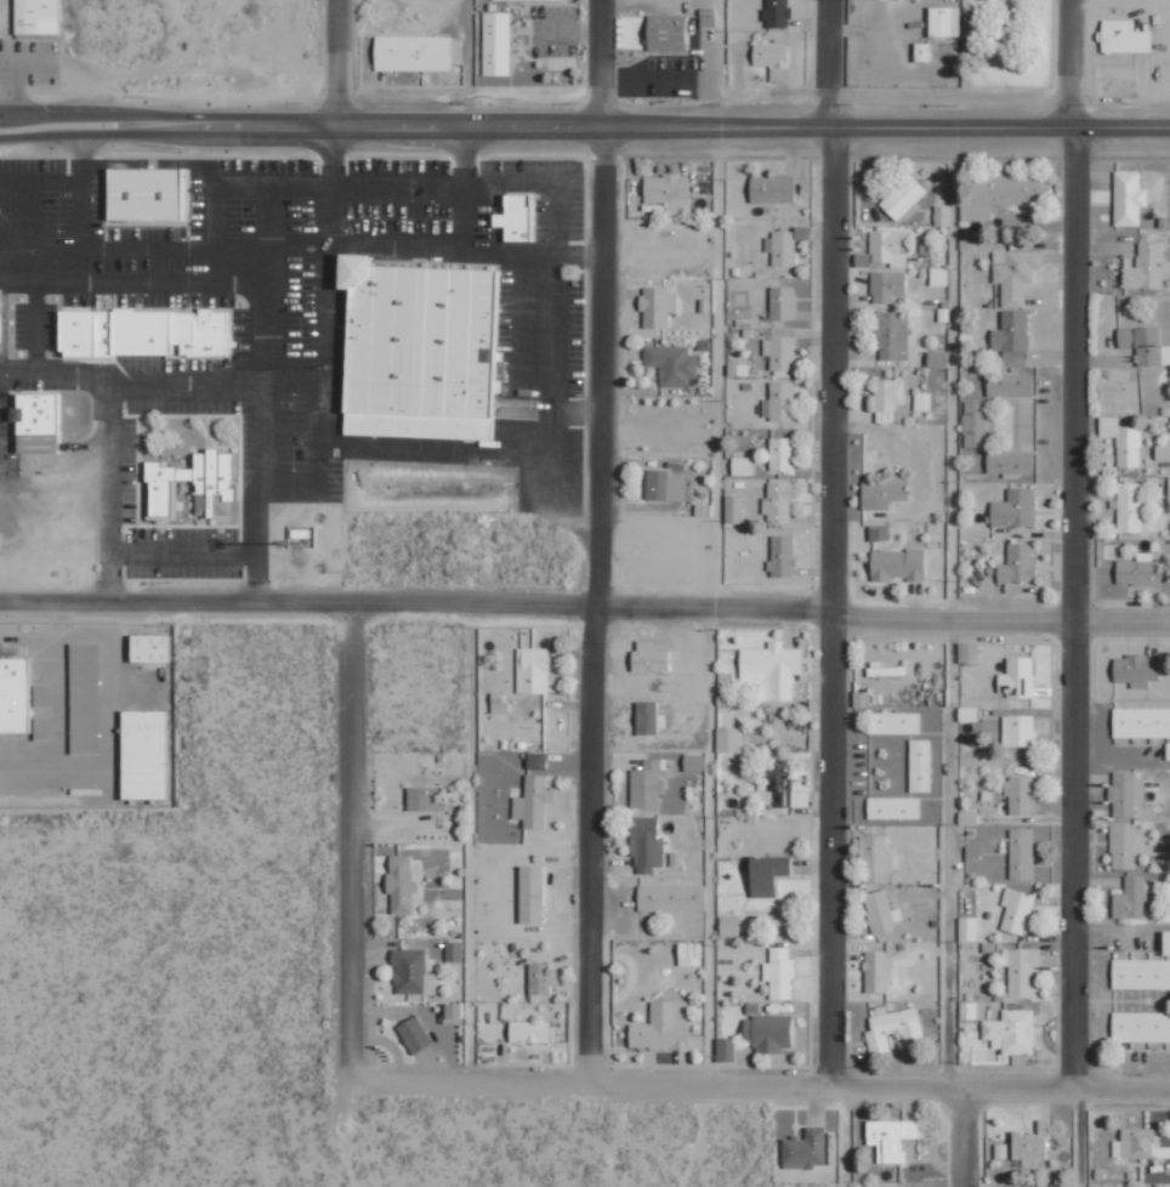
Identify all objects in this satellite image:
building: (547, 0)
building: (892, 1)
building: (1112, 10)
building: (777, 13)
building: (35, 17)
building: (944, 22)
building: (666, 33)
building: (1124, 38)
building: (495, 46)
building: (411, 53)
building: (771, 55)
road: (337, 61)
road: (1063, 64)
road: (585, 123)
building: (771, 188)
building: (1011, 189)
building: (668, 192)
building: (148, 195)
building: (903, 197)
building: (1128, 198)
building: (942, 215)
building: (515, 217)
building: (780, 248)
building: (886, 248)
building: (1147, 267)
building: (1015, 274)
building: (886, 286)
building: (782, 302)
building: (657, 306)
building: (0, 318)
building: (155, 330)
building: (892, 335)
building: (1012, 337)
building: (1145, 345)
building: (421, 350)
building: (779, 354)
building: (937, 358)
building: (671, 364)
building: (1010, 385)
building: (888, 394)
building: (779, 402)
building: (1022, 420)
building: (35, 422)
building: (975, 424)
building: (1123, 441)
building: (782, 454)
building: (1009, 461)
building: (742, 466)
building: (665, 485)
building: (1169, 490)
building: (881, 493)
building: (211, 500)
building: (778, 502)
building: (1129, 506)
building: (733, 509)
building: (1015, 509)
building: (879, 533)
road: (598, 539)
road: (711, 540)
road: (829, 543)
building: (782, 556)
building: (897, 564)
building: (1018, 564)
building: (1138, 572)
road: (414, 604)
road: (949, 608)
road: (1072, 609)
road: (999, 619)
building: (149, 647)
building: (969, 652)
building: (649, 657)
building: (771, 669)
building: (1136, 669)
building: (532, 670)
building: (879, 670)
building: (1017, 676)
building: (13, 694)
building: (84, 698)
building: (647, 716)
building: (1141, 721)
building: (893, 722)
building: (1017, 729)
building: (728, 739)
building: (1168, 750)
building: (143, 752)
building: (693, 762)
building: (920, 765)
building: (776, 774)
building: (647, 784)
building: (1125, 793)
building: (1020, 794)
building: (425, 797)
building: (533, 801)
building: (893, 807)
road: (468, 842)
road: (351, 844)
building: (646, 845)
building: (1124, 845)
building: (1021, 853)
building: (875, 858)
building: (767, 873)
building: (399, 882)
building: (530, 893)
building: (671, 897)
building: (1130, 897)
building: (1016, 910)
building: (881, 911)
building: (728, 925)
building: (967, 928)
building: (1166, 942)
building: (689, 953)
building: (1022, 970)
building: (411, 971)
building: (876, 971)
building: (779, 973)
building: (1141, 973)
building: (539, 977)
building: (967, 1010)
building: (897, 1020)
building: (1141, 1026)
building: (661, 1027)
building: (529, 1032)
building: (767, 1032)
building: (1011, 1032)
building: (414, 1034)
building: (725, 1049)
road: (761, 1083)
road: (847, 1136)
road: (964, 1137)
road: (1077, 1137)
building: (1136, 1142)
building: (1028, 1145)
building: (805, 1148)
building: (891, 1149)
building: (1000, 1151)
building: (1146, 1186)

